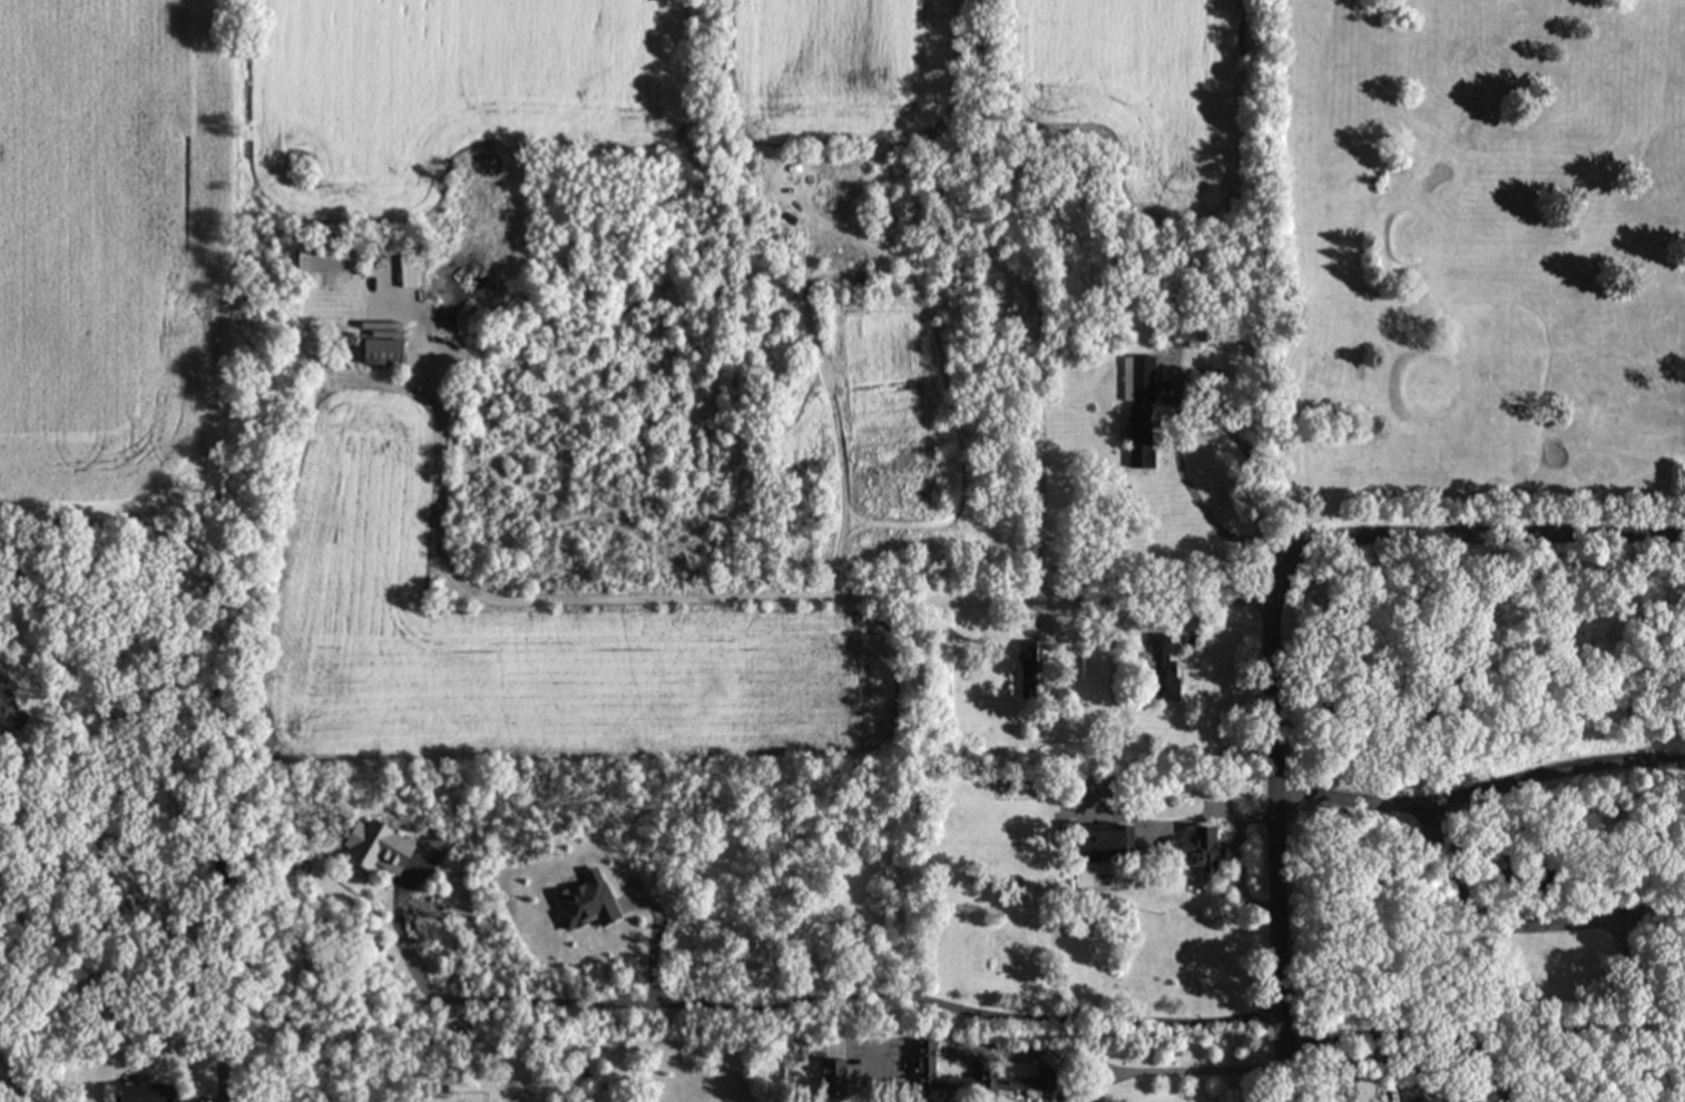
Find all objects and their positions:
building: (329, 260)
building: (376, 353)
building: (1134, 373)
road: (1199, 512)
road: (1460, 540)
road: (746, 599)
building: (1022, 651)
building: (1159, 666)
building: (9, 718)
road: (222, 758)
road: (1481, 790)
road: (1192, 820)
building: (1095, 838)
road: (1280, 846)
building: (371, 848)
building: (1194, 850)
road: (1516, 925)
road: (793, 994)
road: (1414, 1033)
building: (923, 1066)
road: (1120, 1071)
building: (830, 1075)
building: (130, 1093)
building: (1410, 1100)

